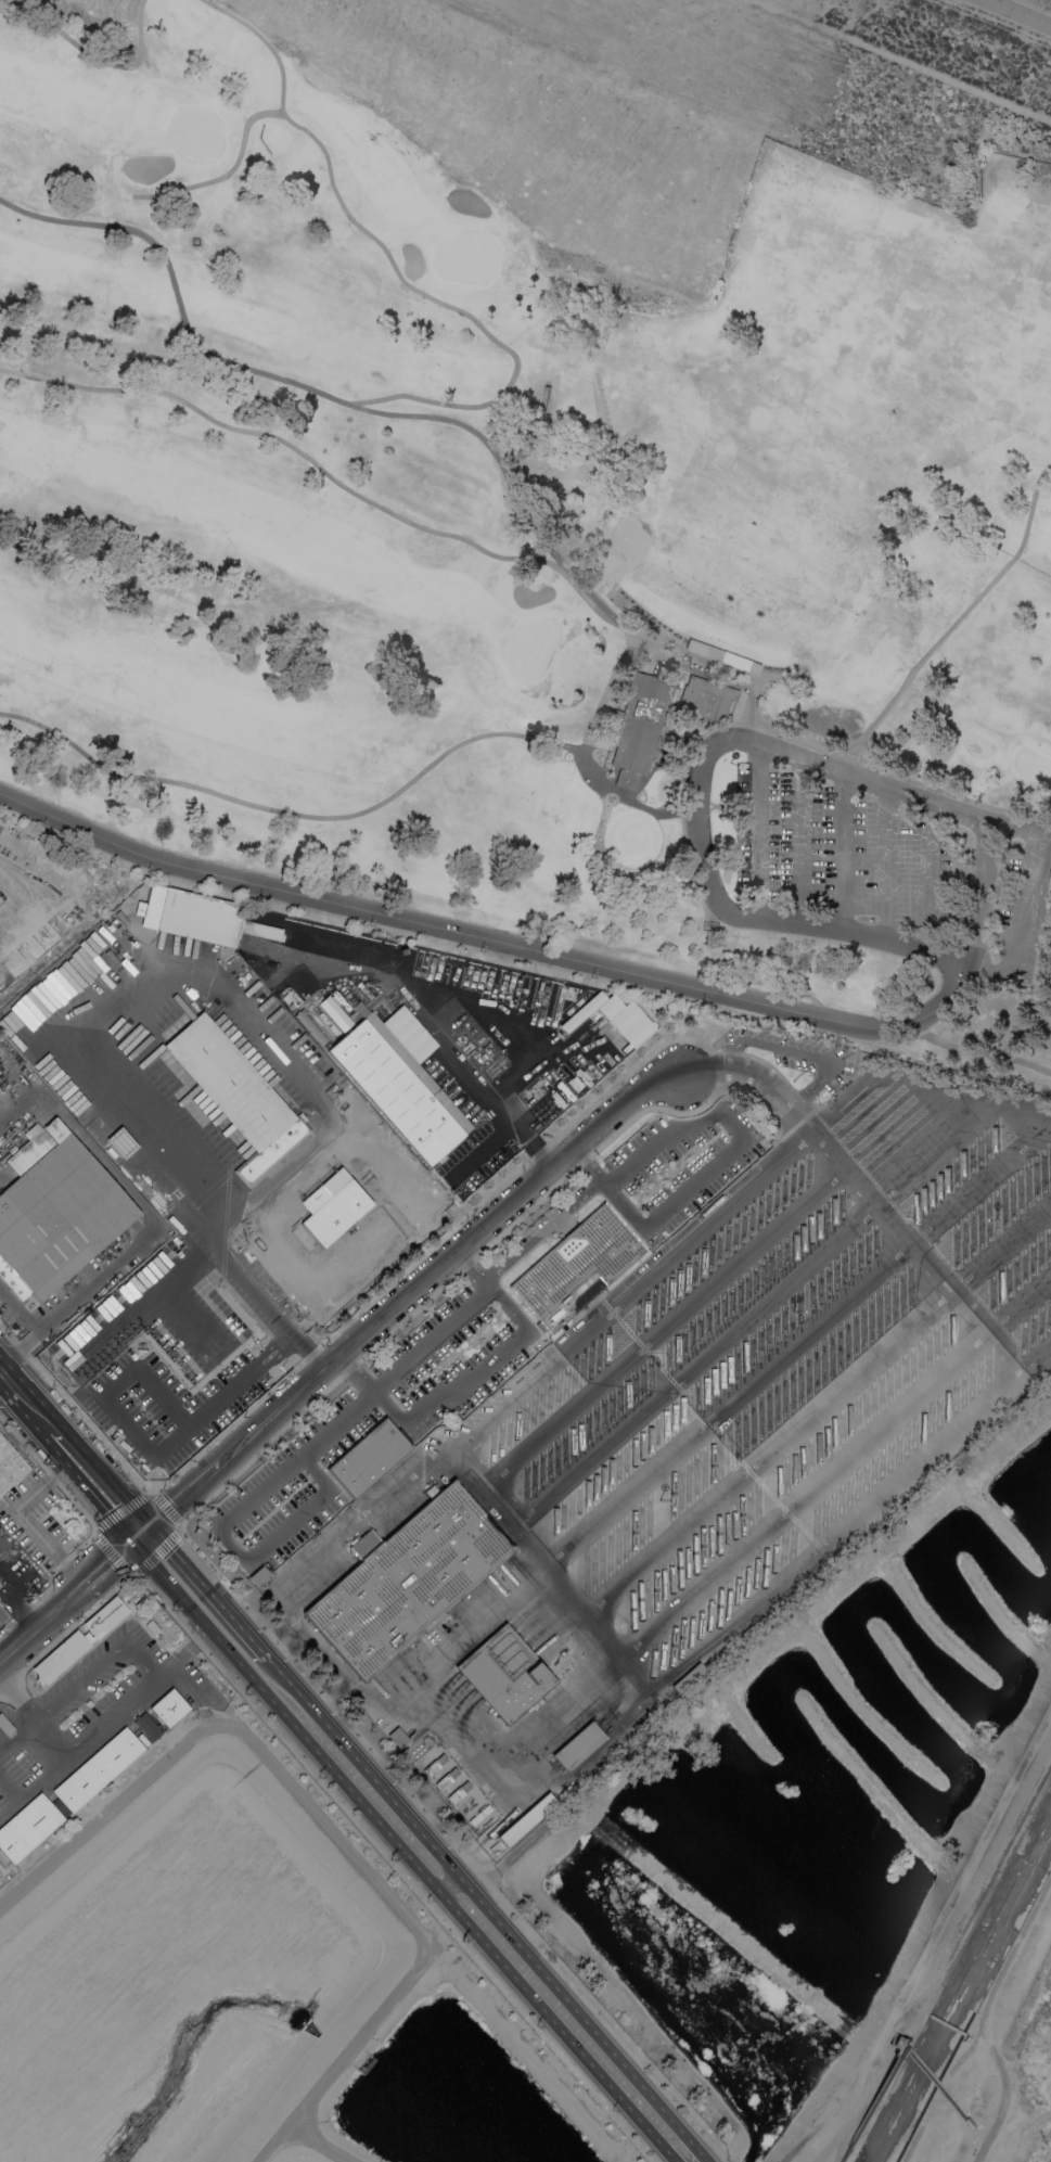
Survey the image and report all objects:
road: (1018, 12)
dam: (97, 13)
park: (97, 13)
park: (188, 15)
road: (264, 42)
park: (232, 44)
road: (93, 56)
road: (900, 61)
park: (684, 106)
dam: (565, 124)
park: (195, 133)
dam: (1012, 210)
road: (384, 253)
park: (465, 257)
park: (441, 374)
park: (602, 400)
road: (412, 415)
building: (601, 465)
road: (320, 469)
park: (549, 486)
park: (644, 618)
park: (528, 647)
road: (924, 654)
park: (880, 655)
building: (720, 656)
park: (779, 675)
park: (867, 677)
building: (677, 691)
building: (704, 700)
park: (838, 712)
building: (637, 727)
road: (715, 743)
park: (975, 746)
park: (475, 753)
park: (1033, 760)
road: (626, 788)
road: (943, 791)
road: (289, 813)
park: (575, 813)
parking lot: (742, 826)
road: (758, 830)
parking lot: (779, 836)
park: (632, 837)
road: (800, 841)
parking lot: (821, 849)
road: (843, 850)
parking lot: (864, 858)
road: (885, 862)
parking lot: (908, 866)
road: (928, 875)
parking lot: (944, 883)
road: (1023, 894)
road: (1044, 917)
building: (200, 918)
building: (260, 930)
road: (489, 938)
road: (118, 1005)
building: (332, 1012)
building: (624, 1019)
building: (310, 1026)
building: (236, 1040)
road: (977, 1050)
road: (753, 1079)
building: (398, 1088)
building: (236, 1095)
road: (495, 1113)
road: (725, 1155)
building: (56, 1211)
road: (150, 1217)
road: (319, 1219)
road: (913, 1249)
road: (366, 1257)
building: (576, 1267)
road: (707, 1288)
road: (405, 1299)
road: (20, 1307)
road: (752, 1313)
building: (107, 1317)
building: (85, 1328)
parking lot: (476, 1329)
road: (796, 1342)
parking lot: (783, 1367)
road: (463, 1378)
building: (128, 1395)
road: (25, 1398)
road: (817, 1410)
road: (329, 1422)
building: (4, 1446)
building: (169, 1451)
building: (368, 1456)
road: (832, 1466)
building: (11, 1469)
road: (94, 1481)
road: (488, 1494)
road: (373, 1502)
traffic signals: (138, 1533)
building: (5, 1552)
road: (107, 1559)
building: (255, 1575)
building: (406, 1579)
road: (205, 1590)
building: (105, 1616)
road: (39, 1621)
road: (11, 1626)
building: (88, 1637)
building: (60, 1656)
building: (504, 1674)
road: (157, 1675)
road: (270, 1699)
building: (168, 1707)
road: (36, 1714)
building: (4, 1725)
building: (145, 1728)
building: (577, 1745)
road: (345, 1747)
building: (434, 1765)
building: (446, 1778)
building: (564, 1791)
building: (458, 1792)
building: (65, 1795)
building: (479, 1814)
building: (526, 1818)
road: (326, 1821)
road: (441, 1856)
road: (425, 1876)
road: (450, 1885)
road: (933, 1936)
road: (581, 2016)
road: (946, 2025)
road: (976, 2025)
road: (562, 2032)
road: (318, 2142)
quarry: (1050, 2161)

